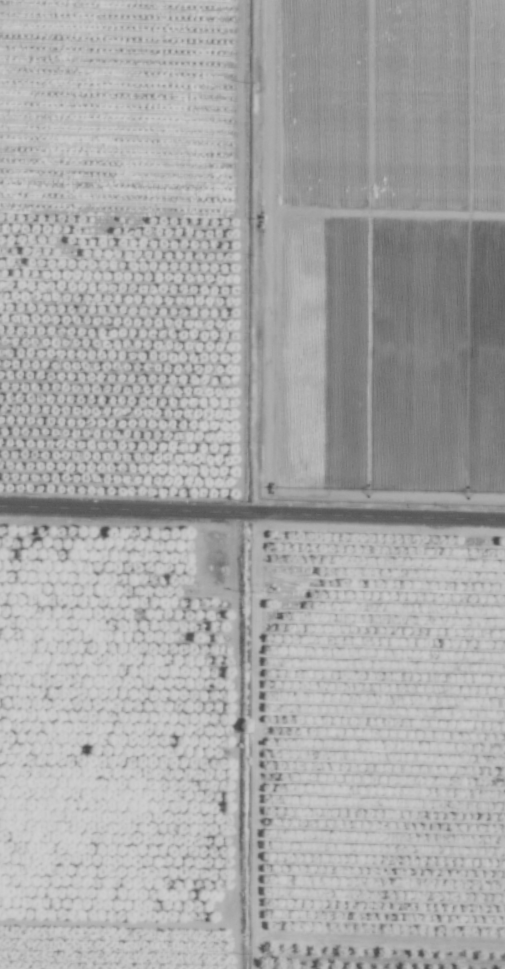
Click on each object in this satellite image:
crop: (252, 484)
road: (252, 504)

